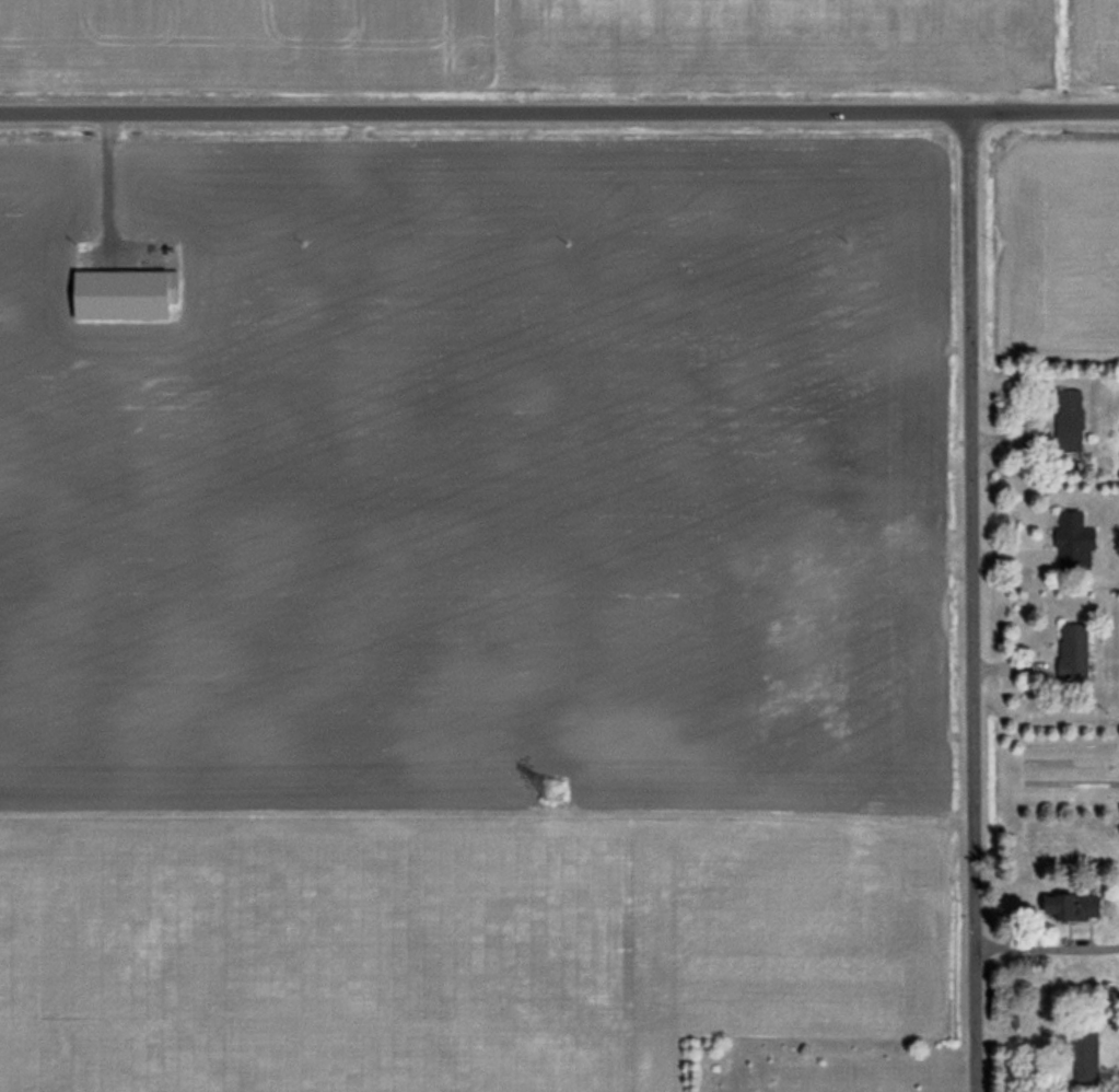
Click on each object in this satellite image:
road: (559, 112)
building: (1073, 421)
building: (1079, 542)
road: (974, 601)
building: (1079, 651)
power tower: (558, 788)
building: (1081, 908)
road: (1048, 948)
building: (1087, 1053)

